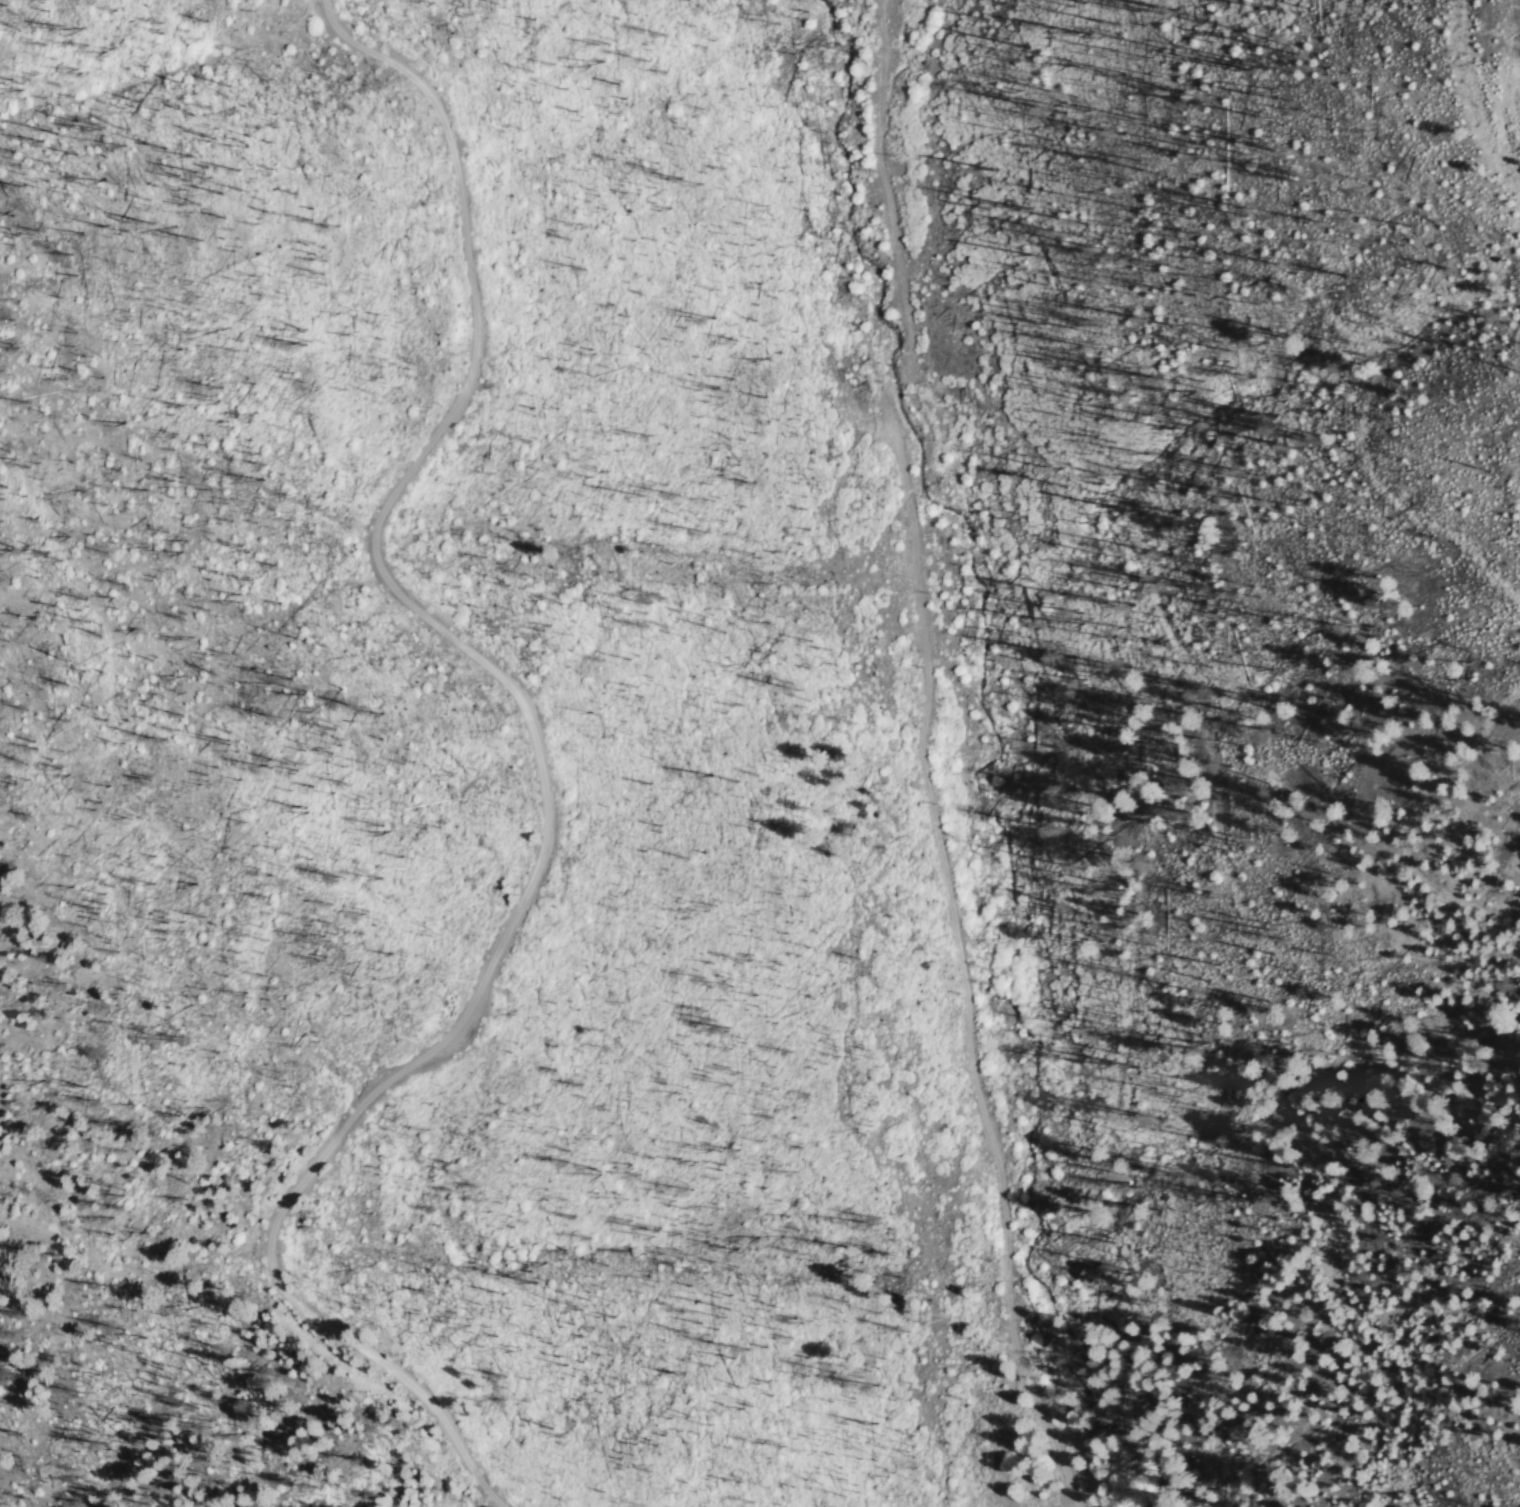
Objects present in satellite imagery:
road: (546, 777)
road: (961, 958)

